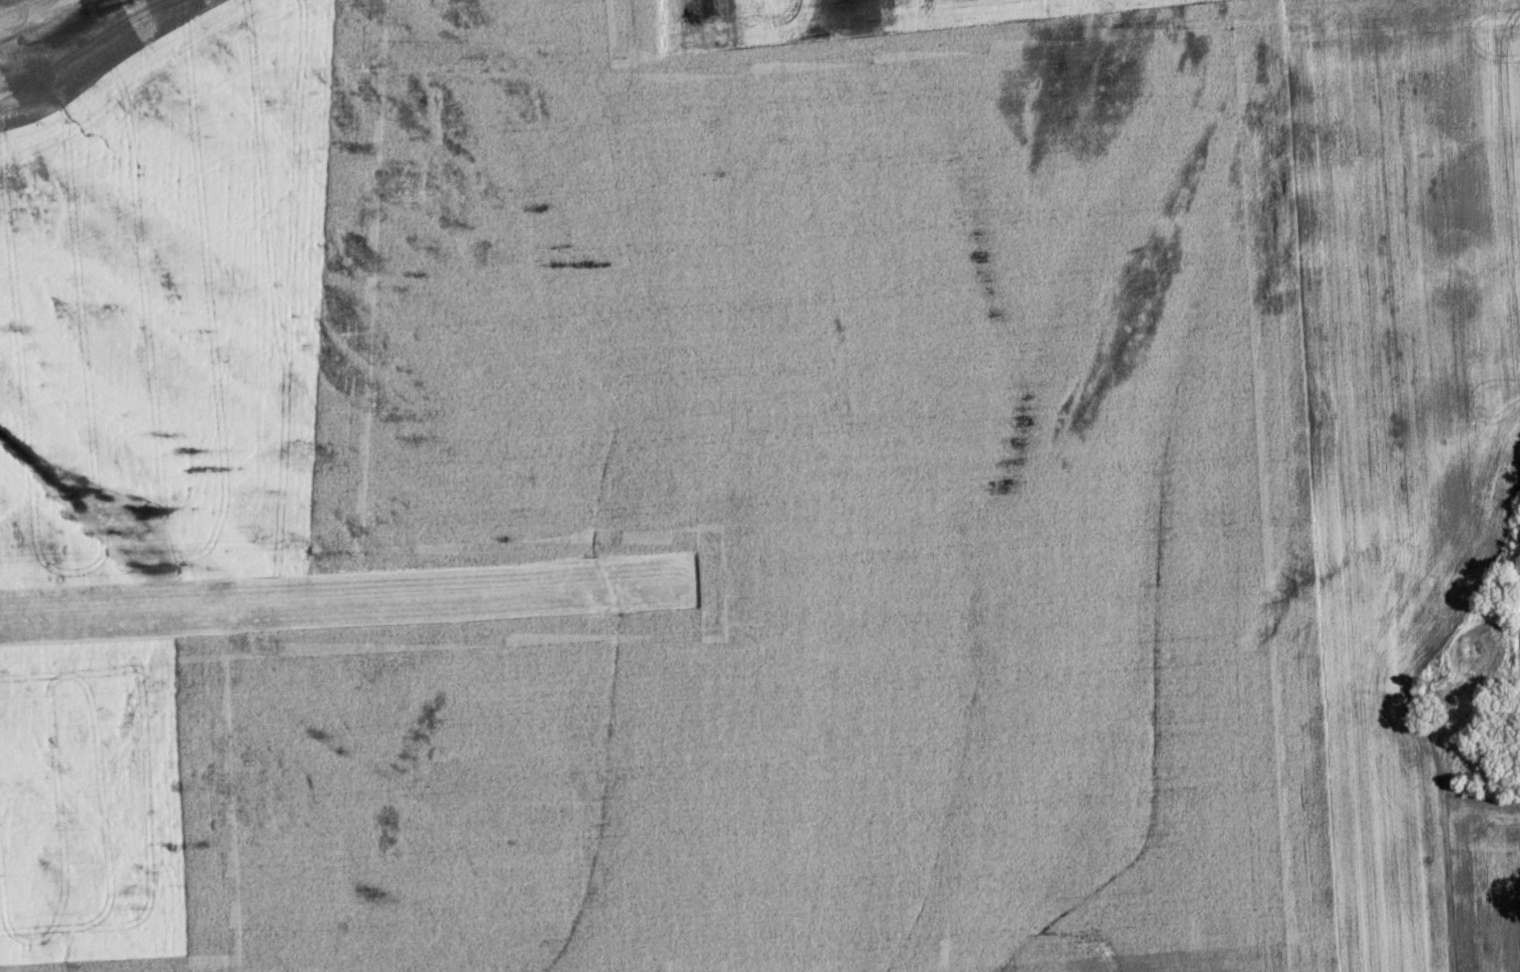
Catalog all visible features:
airport runway: (346, 598)
road: (1443, 824)

